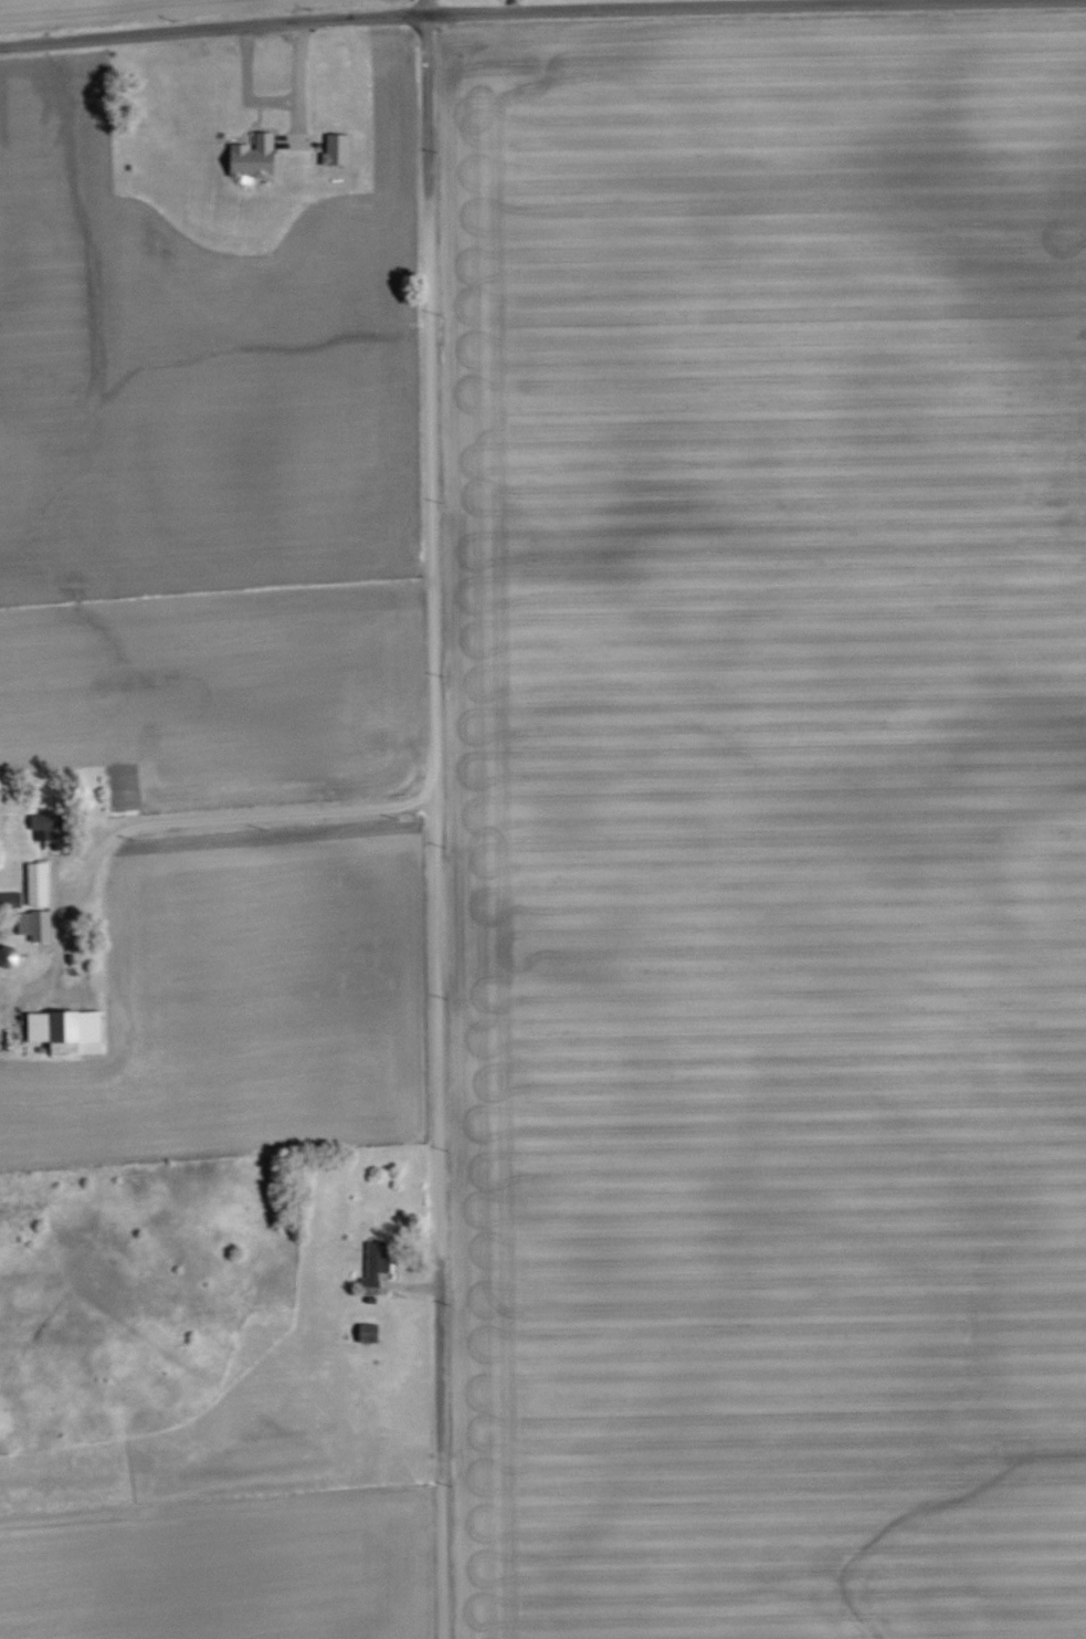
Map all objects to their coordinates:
road: (506, 10)
road: (428, 88)
building: (337, 149)
building: (253, 158)
road: (435, 706)
road: (210, 818)
building: (52, 824)
road: (75, 853)
building: (40, 882)
building: (12, 897)
road: (70, 897)
road: (66, 905)
building: (40, 923)
silo: (12, 955)
building: (67, 1030)
building: (376, 1261)
building: (369, 1333)
road: (443, 1339)
road: (444, 1542)

